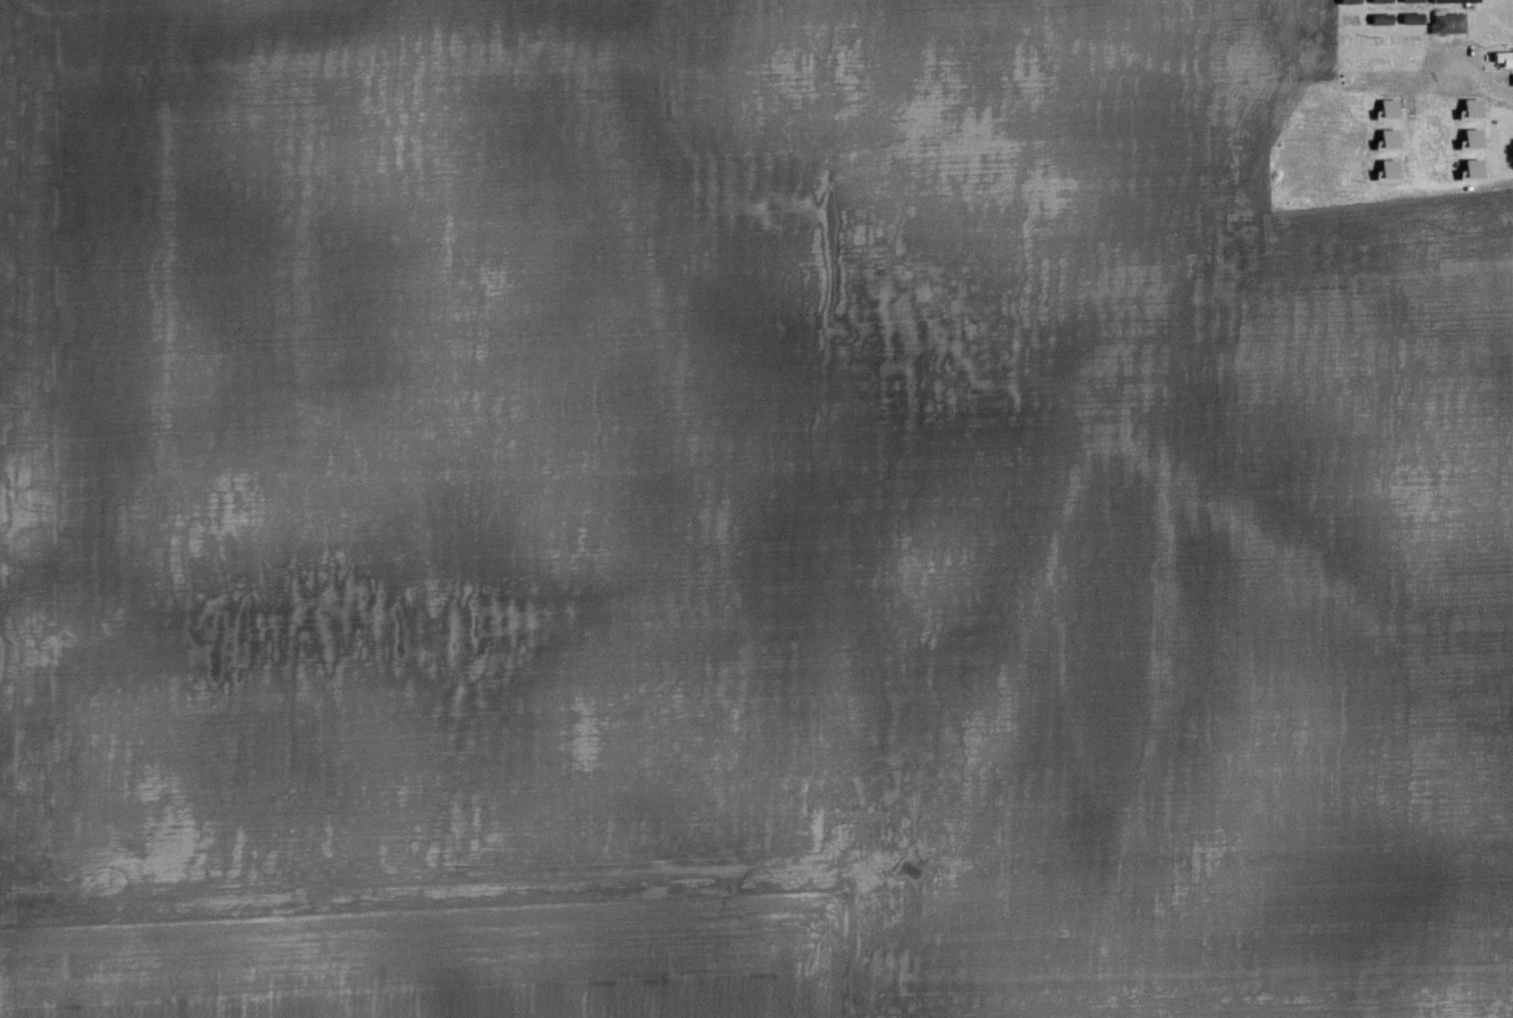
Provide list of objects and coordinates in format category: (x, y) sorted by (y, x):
building: (1506, 58)
road: (1470, 89)
building: (1473, 106)

